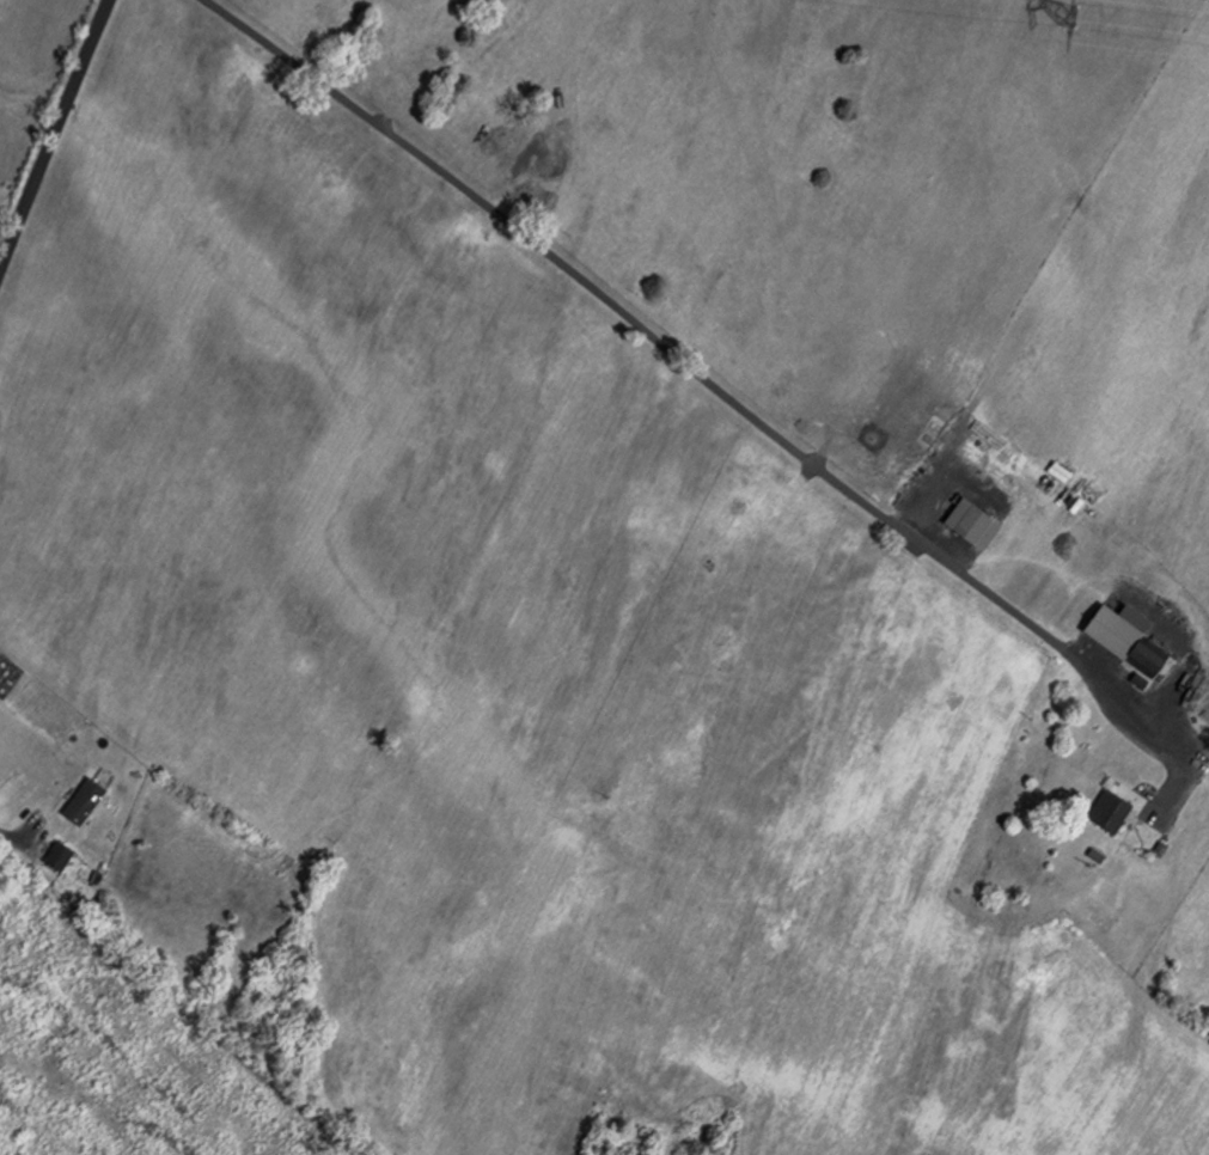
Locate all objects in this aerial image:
road: (108, 8)
power tower: (1099, 20)
road: (51, 146)
road: (712, 379)
road: (12, 836)

